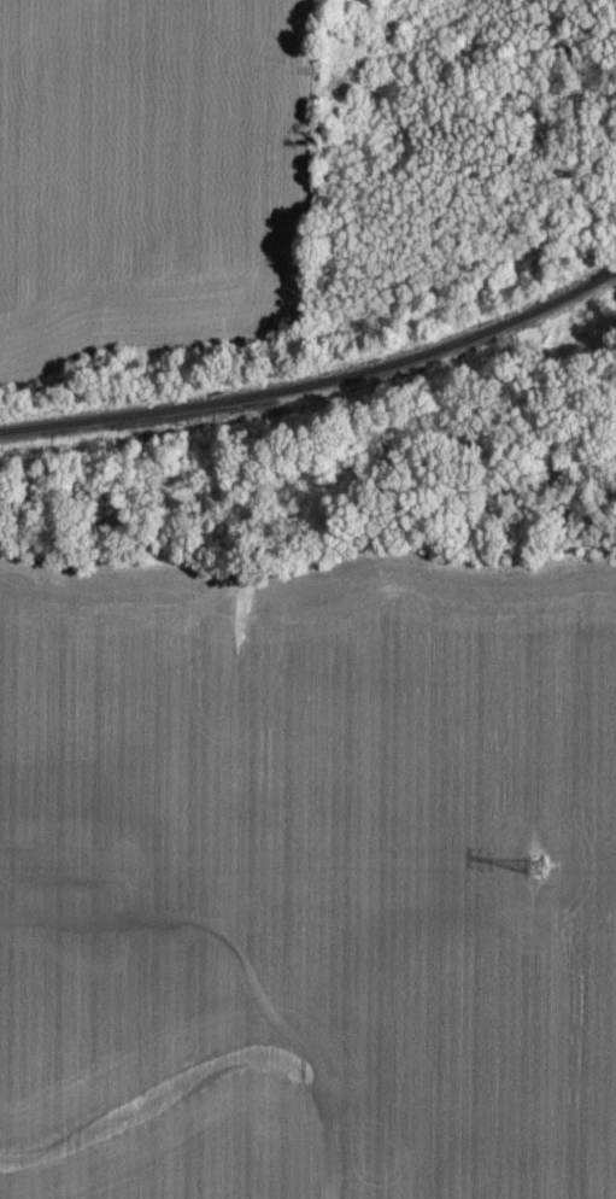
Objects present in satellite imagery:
railway: (316, 382)
power tower: (538, 867)

